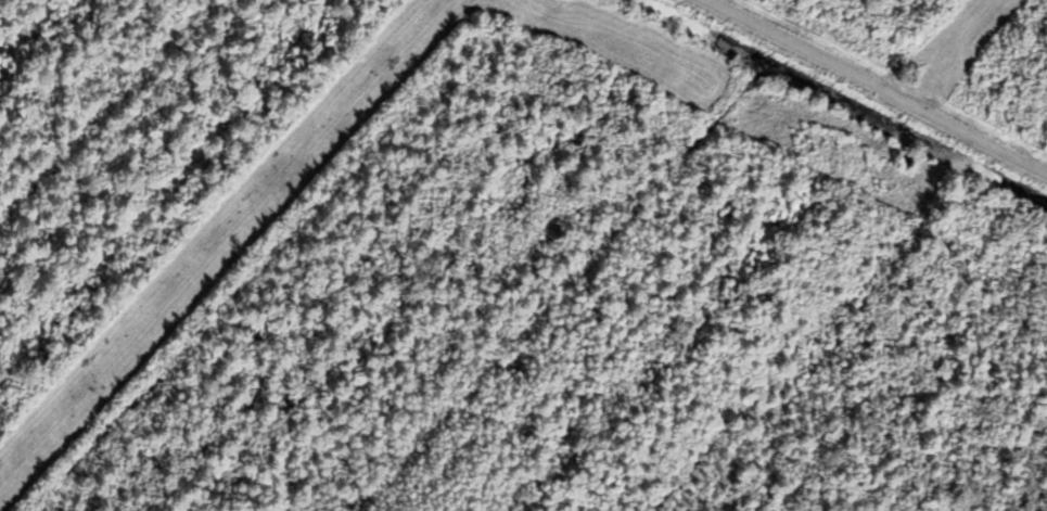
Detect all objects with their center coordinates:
road: (881, 82)

